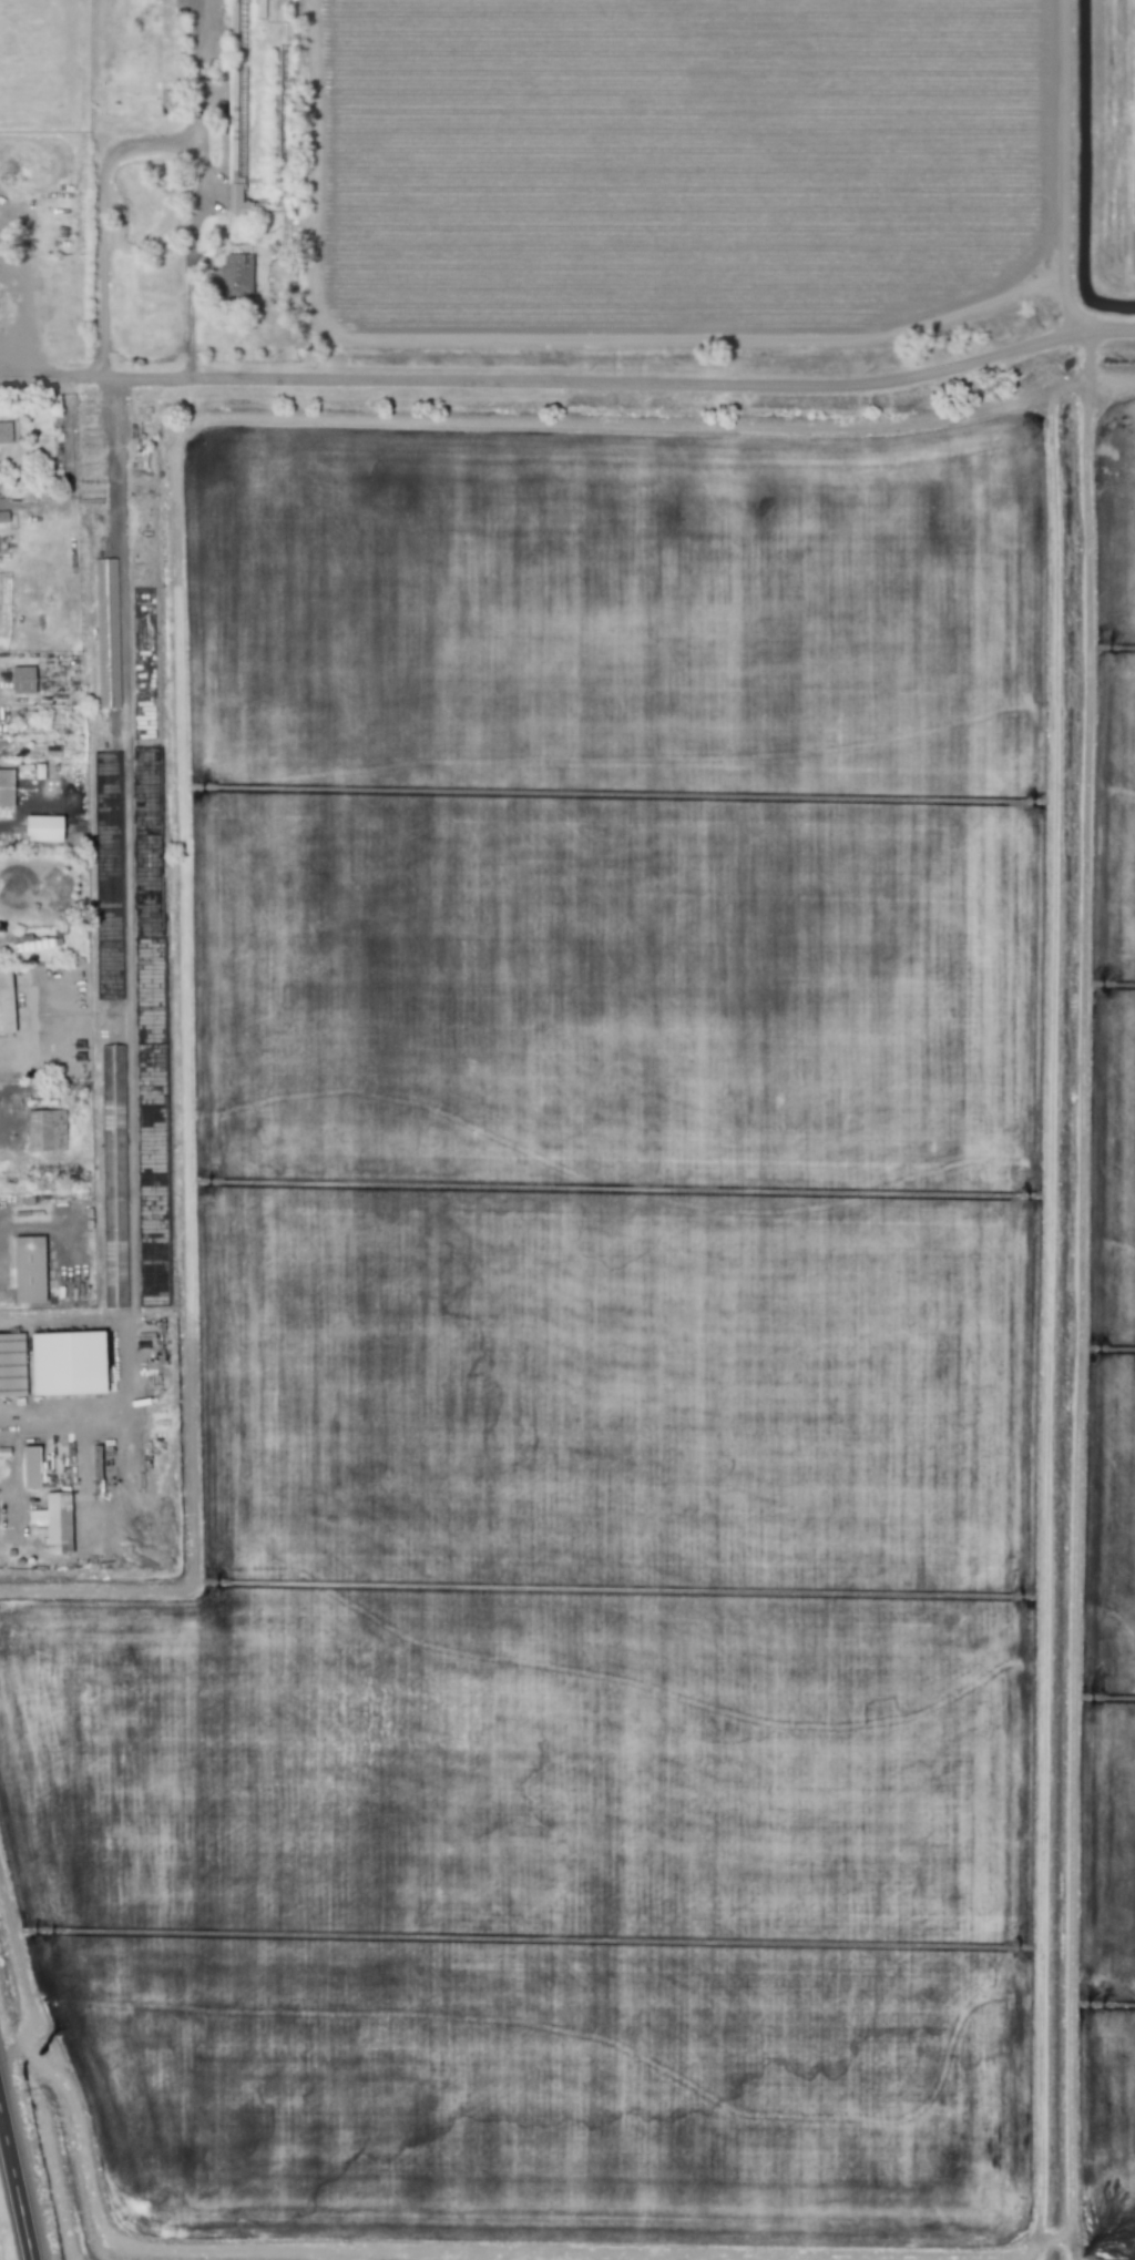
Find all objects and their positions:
road: (111, 157)
road: (1076, 187)
building: (236, 200)
road: (190, 255)
building: (233, 276)
road: (22, 317)
road: (569, 400)
building: (7, 432)
building: (27, 680)
building: (8, 787)
building: (47, 828)
road: (127, 956)
building: (8, 1000)
building: (49, 1131)
building: (114, 1177)
building: (33, 1270)
building: (75, 1364)
building: (14, 1365)
building: (34, 1467)
building: (57, 1524)
road: (14, 2191)

